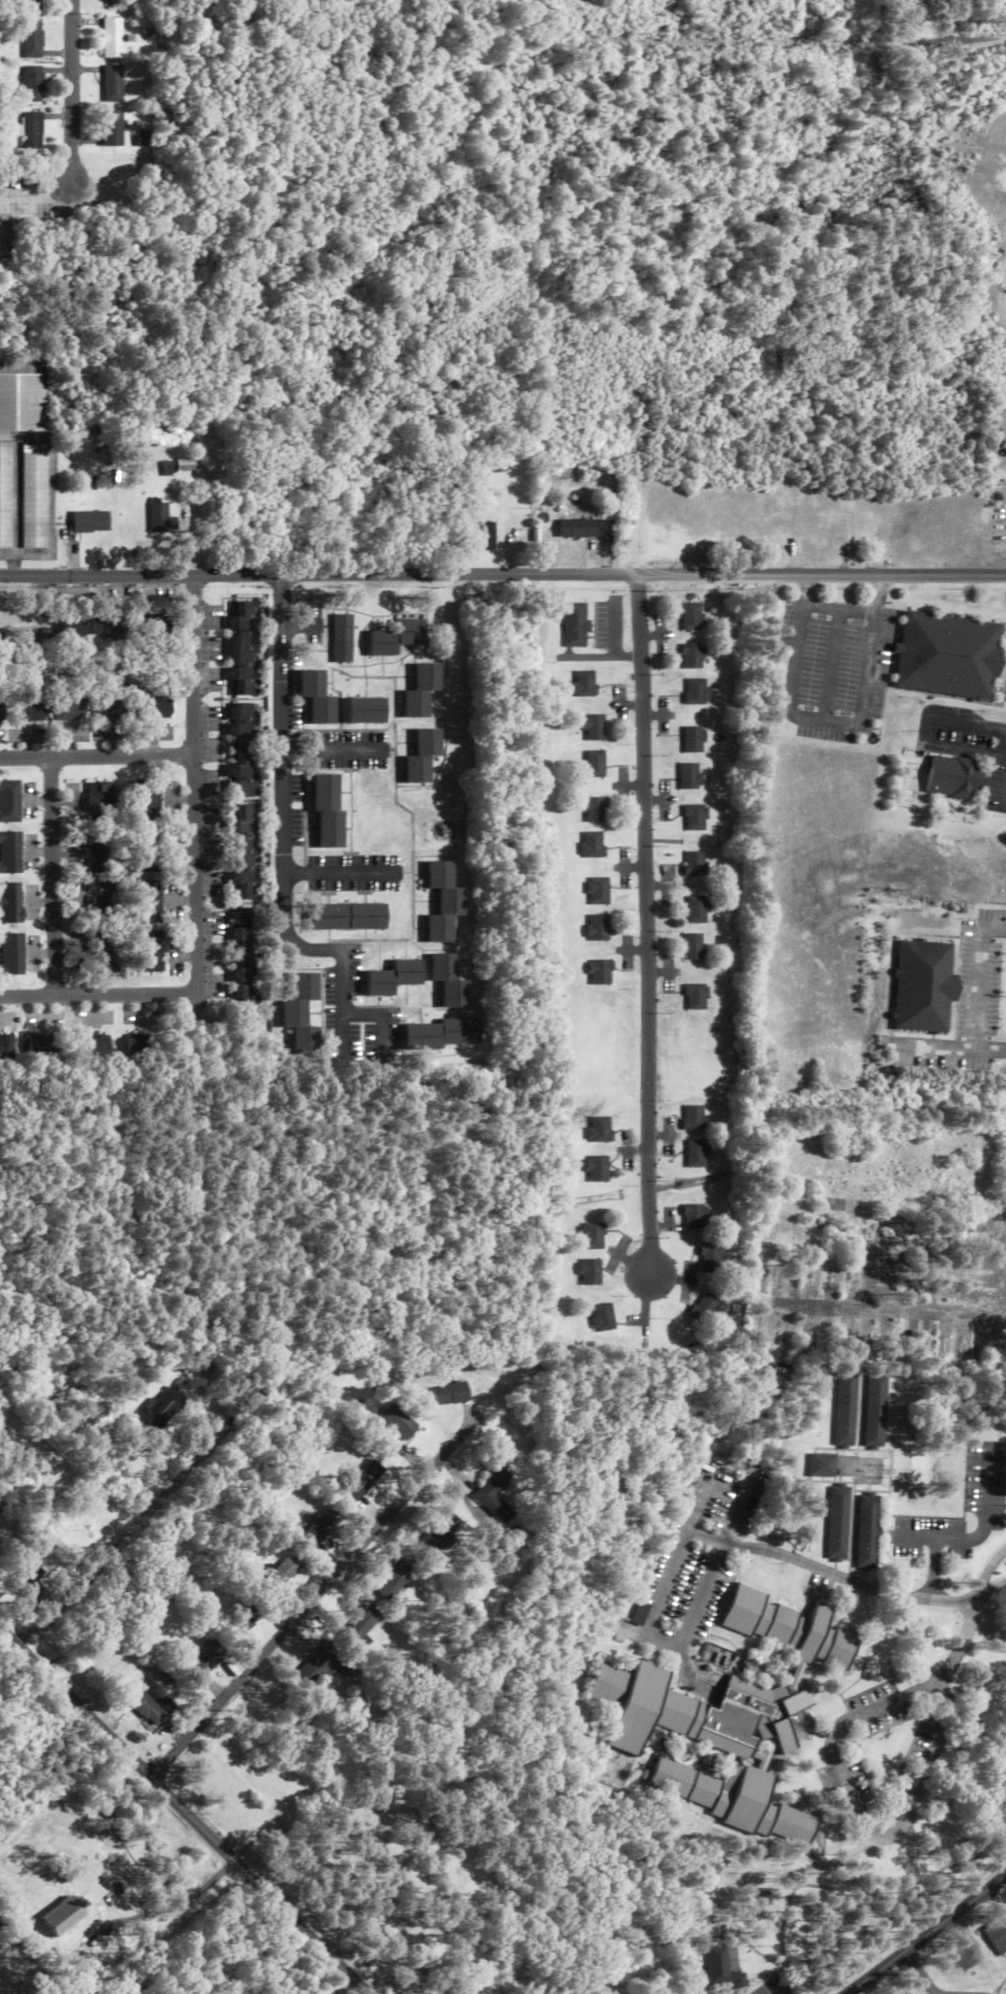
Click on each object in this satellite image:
building: (113, 0)
building: (33, 5)
building: (112, 38)
building: (33, 39)
road: (903, 45)
building: (33, 84)
building: (112, 84)
road: (72, 93)
building: (112, 128)
building: (32, 131)
building: (142, 139)
road: (37, 197)
building: (22, 402)
building: (183, 464)
building: (33, 496)
building: (158, 518)
building: (80, 523)
building: (578, 528)
building: (485, 536)
road: (502, 573)
road: (841, 609)
building: (691, 616)
building: (574, 624)
building: (105, 626)
building: (341, 628)
building: (71, 631)
building: (156, 633)
building: (513, 635)
building: (21, 637)
building: (396, 637)
building: (242, 648)
building: (948, 654)
building: (692, 656)
building: (583, 683)
building: (421, 691)
building: (695, 691)
building: (317, 697)
building: (109, 702)
building: (69, 707)
building: (154, 707)
building: (27, 708)
building: (365, 711)
road: (830, 721)
building: (593, 728)
building: (693, 740)
building: (243, 749)
road: (334, 749)
road: (97, 756)
building: (422, 756)
building: (592, 764)
building: (688, 776)
building: (953, 777)
road: (628, 785)
road: (194, 786)
building: (100, 798)
building: (147, 800)
building: (10, 801)
building: (594, 810)
building: (327, 811)
building: (694, 818)
road: (282, 837)
building: (591, 844)
building: (146, 850)
building: (99, 851)
building: (10, 852)
building: (244, 852)
building: (694, 864)
road: (629, 867)
road: (335, 873)
road: (52, 876)
building: (596, 891)
building: (100, 896)
building: (146, 901)
building: (10, 902)
building: (442, 902)
building: (696, 909)
building: (347, 916)
road: (644, 923)
building: (595, 927)
road: (1005, 929)
building: (691, 946)
road: (631, 949)
building: (101, 952)
building: (148, 952)
building: (11, 954)
building: (244, 954)
building: (597, 972)
road: (979, 977)
building: (393, 978)
building: (448, 981)
building: (924, 987)
road: (99, 995)
building: (693, 997)
road: (381, 1013)
building: (301, 1015)
building: (442, 1034)
building: (139, 1044)
building: (38, 1046)
building: (92, 1046)
road: (942, 1046)
road: (999, 1050)
building: (8, 1052)
building: (692, 1118)
building: (598, 1129)
building: (695, 1154)
building: (596, 1169)
building: (956, 1189)
building: (821, 1210)
building: (693, 1217)
building: (961, 1221)
building: (843, 1234)
building: (590, 1236)
building: (955, 1242)
building: (906, 1243)
building: (709, 1258)
building: (903, 1258)
building: (969, 1260)
building: (763, 1263)
road: (868, 1266)
building: (795, 1268)
building: (776, 1270)
building: (852, 1270)
building: (587, 1272)
building: (965, 1279)
building: (904, 1280)
road: (1002, 1282)
building: (960, 1295)
building: (702, 1308)
road: (930, 1312)
building: (600, 1317)
building: (843, 1337)
building: (805, 1339)
building: (975, 1346)
building: (781, 1347)
building: (957, 1347)
building: (881, 1349)
building: (995, 1350)
building: (905, 1351)
building: (925, 1351)
building: (940, 1351)
building: (778, 1377)
building: (449, 1394)
building: (163, 1409)
building: (843, 1409)
building: (872, 1410)
building: (398, 1422)
building: (820, 1466)
building: (364, 1481)
building: (493, 1495)
building: (837, 1523)
building: (321, 1529)
building: (867, 1532)
building: (440, 1533)
road: (980, 1533)
building: (1, 1538)
road: (114, 1552)
road: (674, 1561)
road: (934, 1570)
road: (829, 1573)
building: (283, 1574)
building: (397, 1580)
building: (30, 1585)
road: (992, 1585)
road: (316, 1597)
building: (243, 1622)
building: (361, 1627)
road: (967, 1631)
building: (209, 1659)
building: (325, 1665)
building: (725, 1694)
road: (945, 1696)
building: (146, 1707)
building: (262, 1784)
building: (735, 1798)
road: (184, 1811)
road: (861, 1818)
building: (69, 1915)
building: (409, 1933)
building: (997, 1933)
road: (926, 1935)
building: (721, 1968)
building: (467, 1989)

